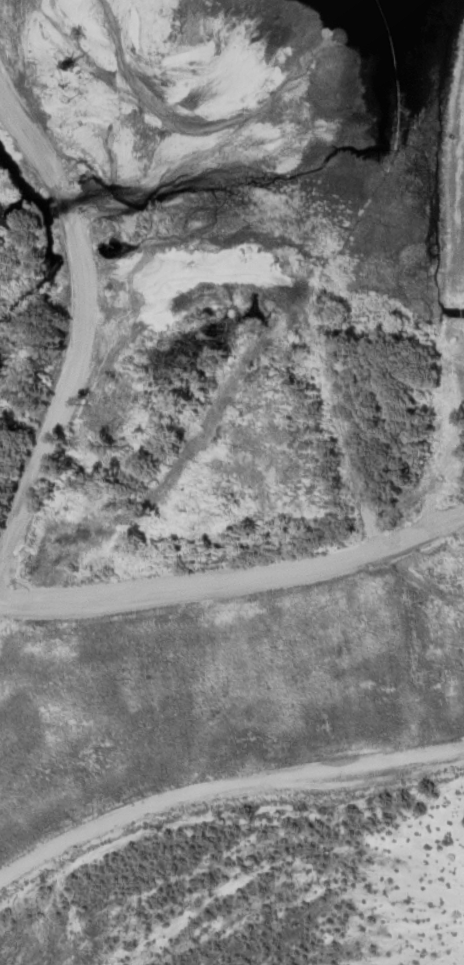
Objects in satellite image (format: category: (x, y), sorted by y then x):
road: (80, 327)
road: (238, 580)

